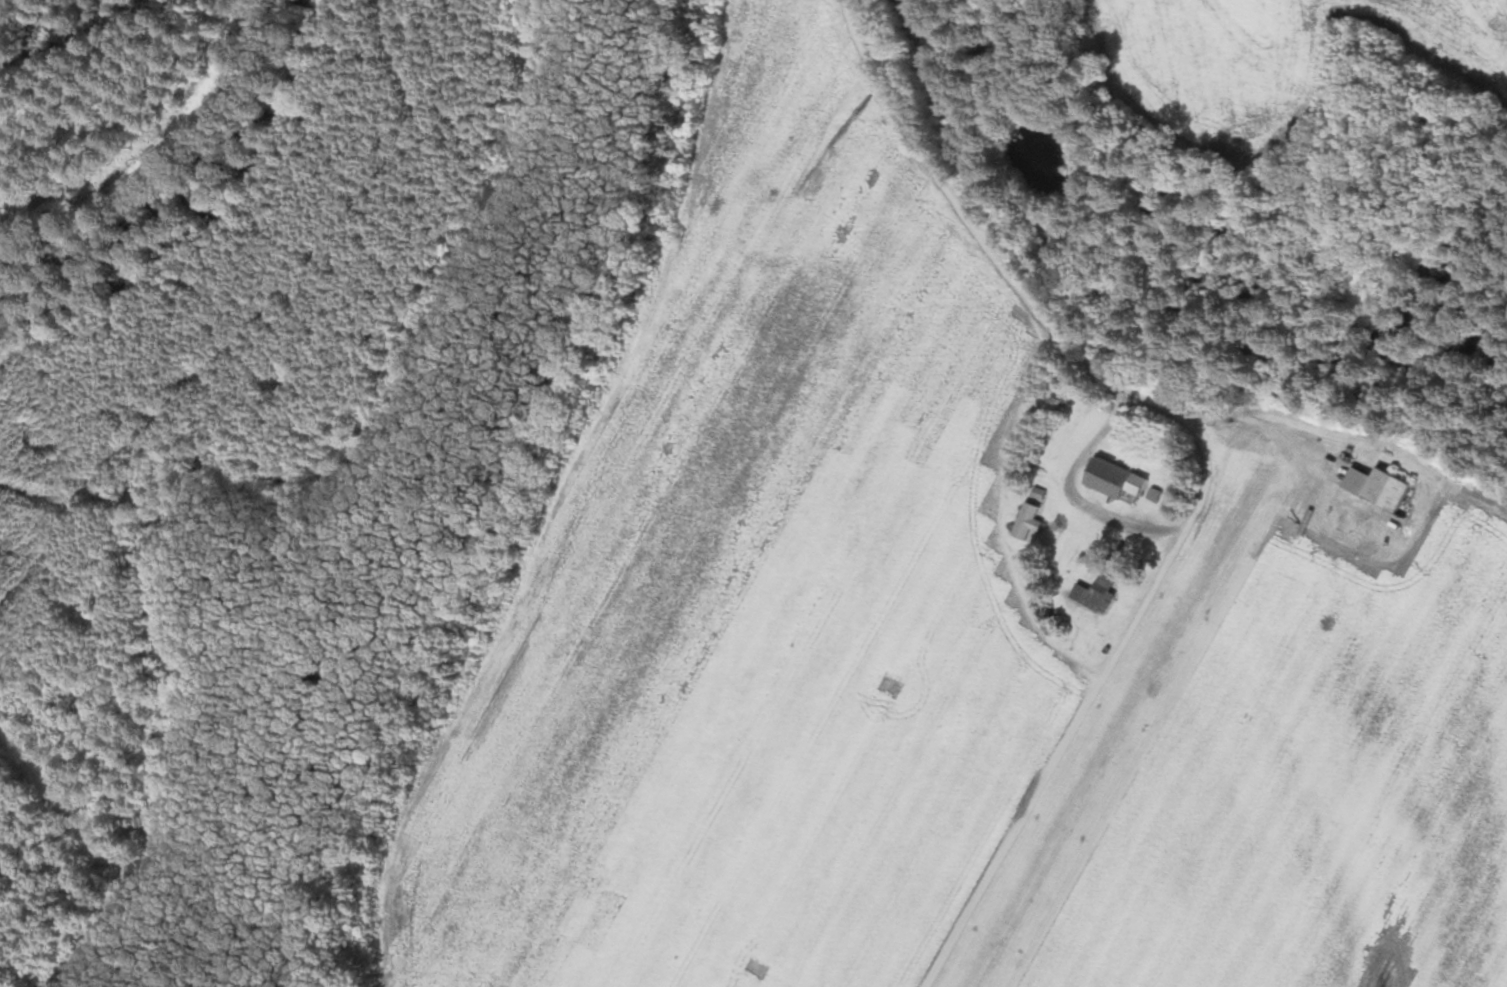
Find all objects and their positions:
road: (1355, 448)
road: (1202, 462)
building: (1114, 482)
building: (1378, 488)
road: (1076, 494)
building: (1027, 522)
building: (1095, 594)
airport runway: (1108, 734)

